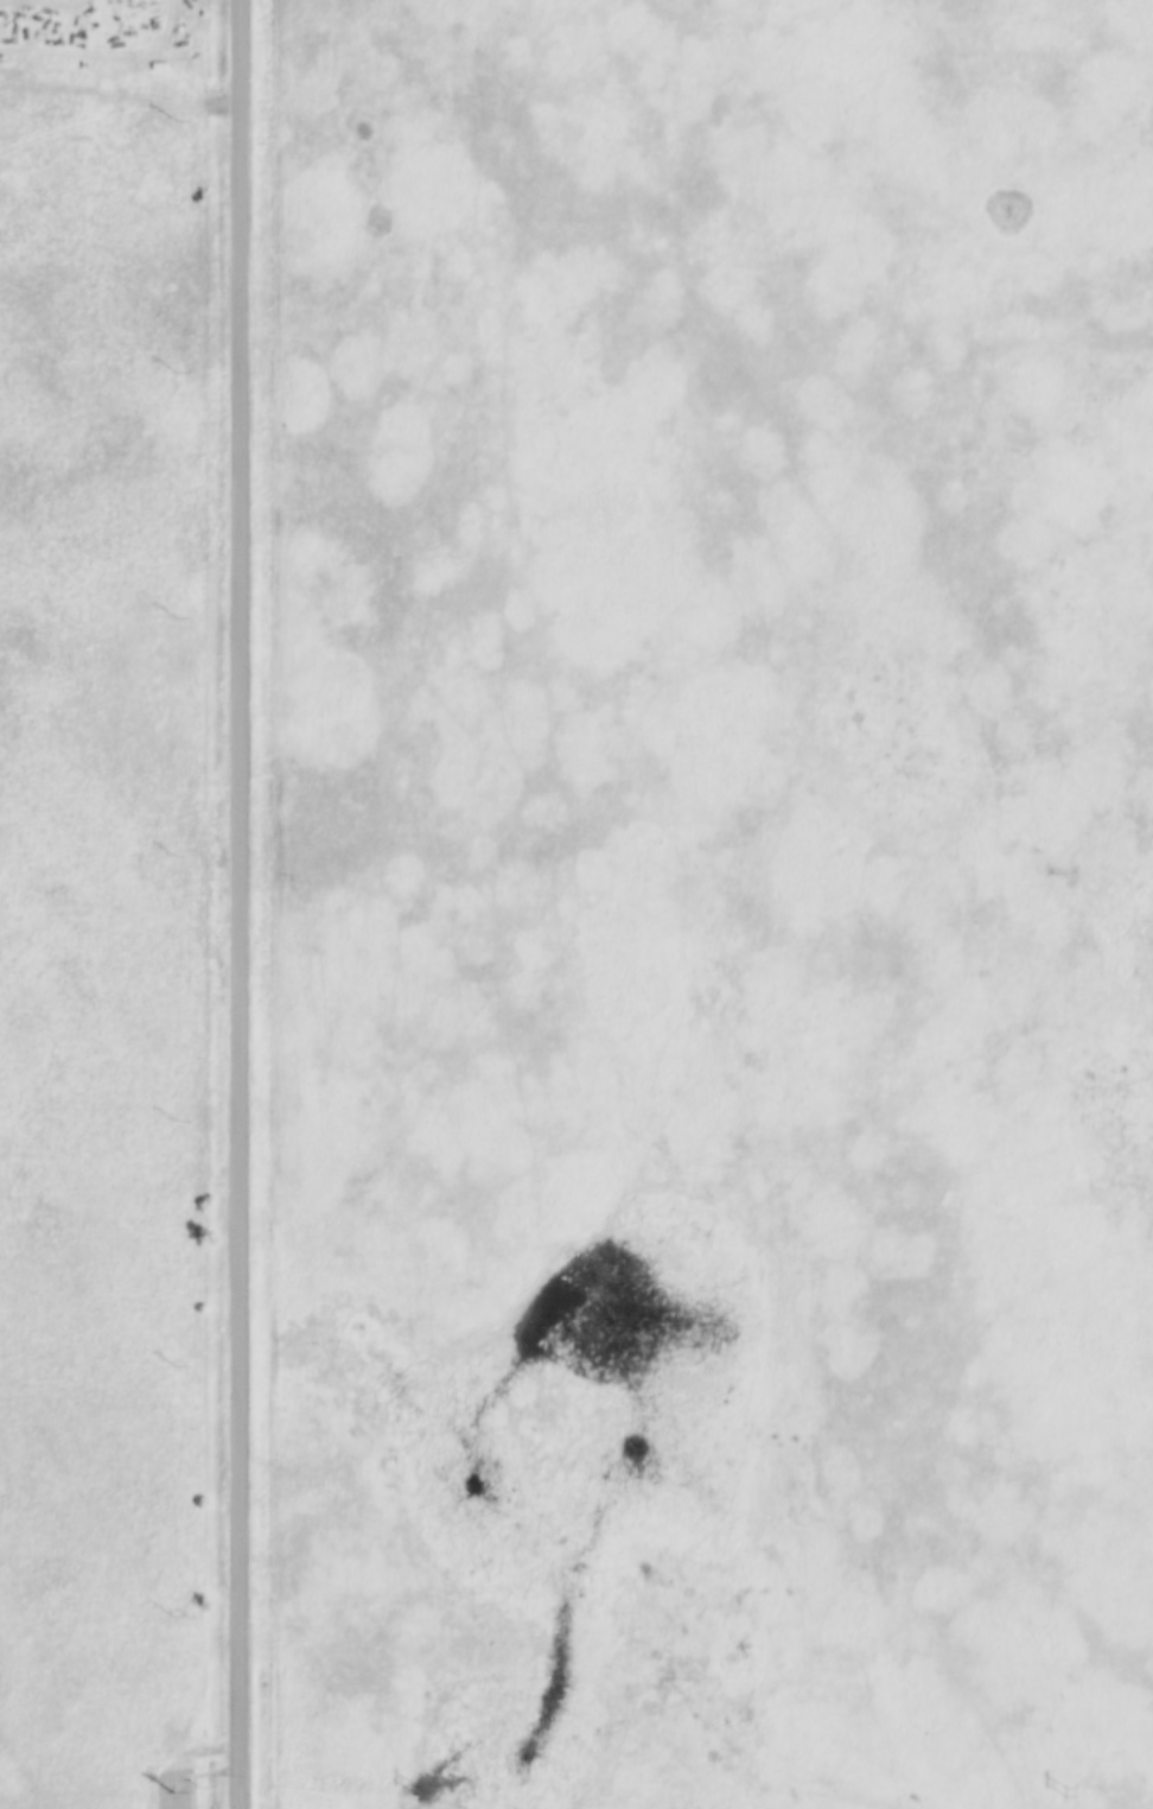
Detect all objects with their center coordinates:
road: (236, 903)
power tower: (421, 1792)
power tower: (1058, 1796)

